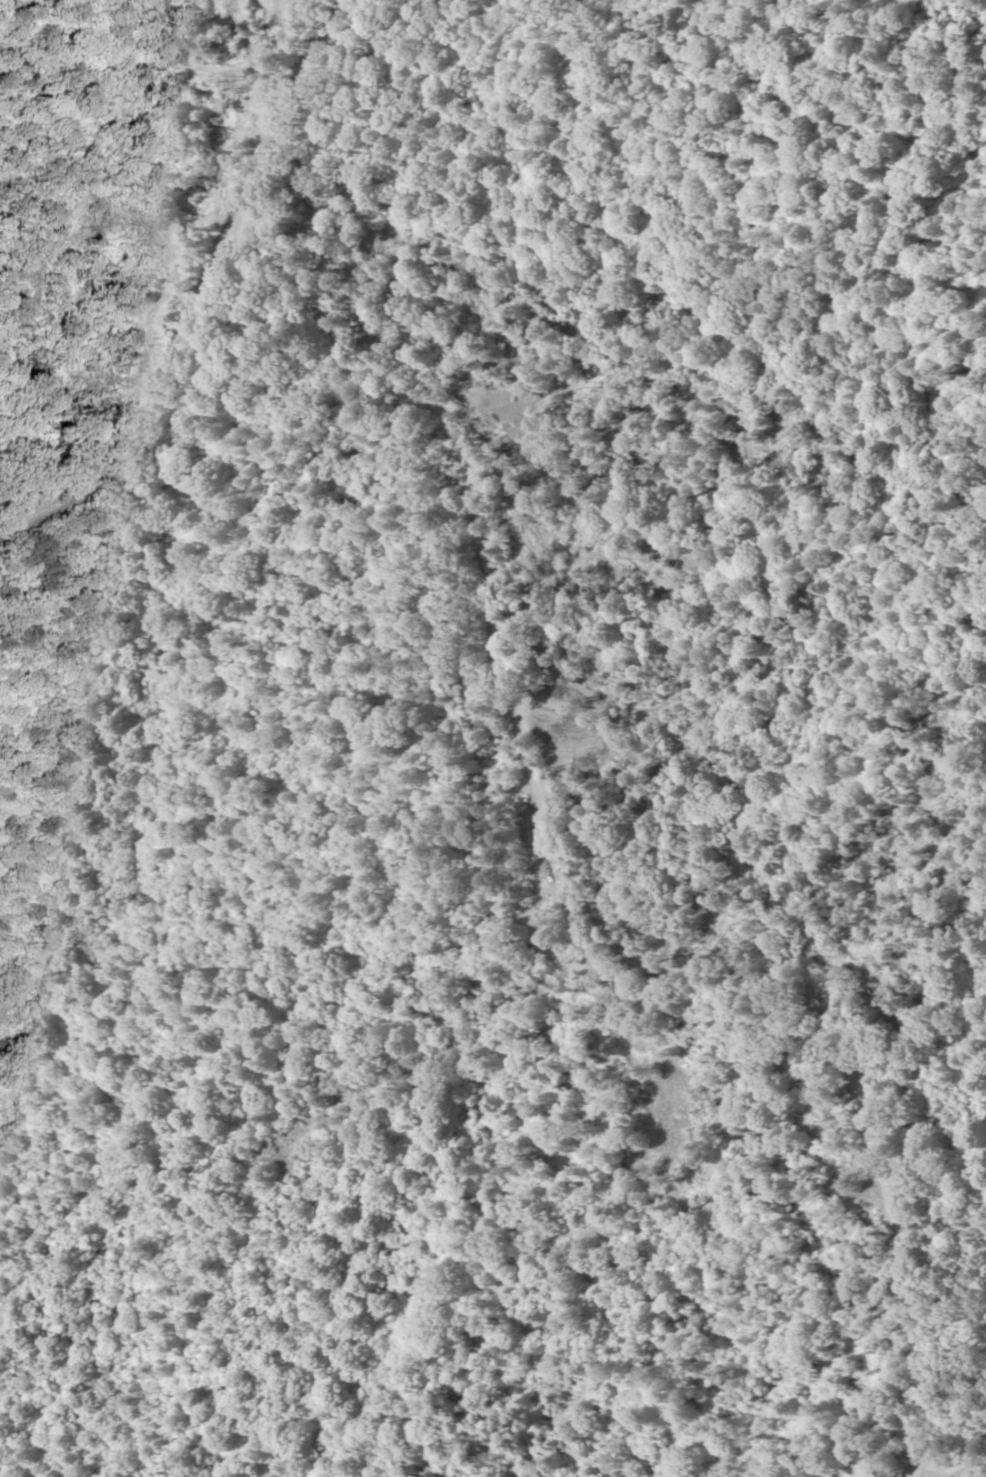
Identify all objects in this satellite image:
road: (311, 128)
road: (158, 410)
road: (559, 910)

